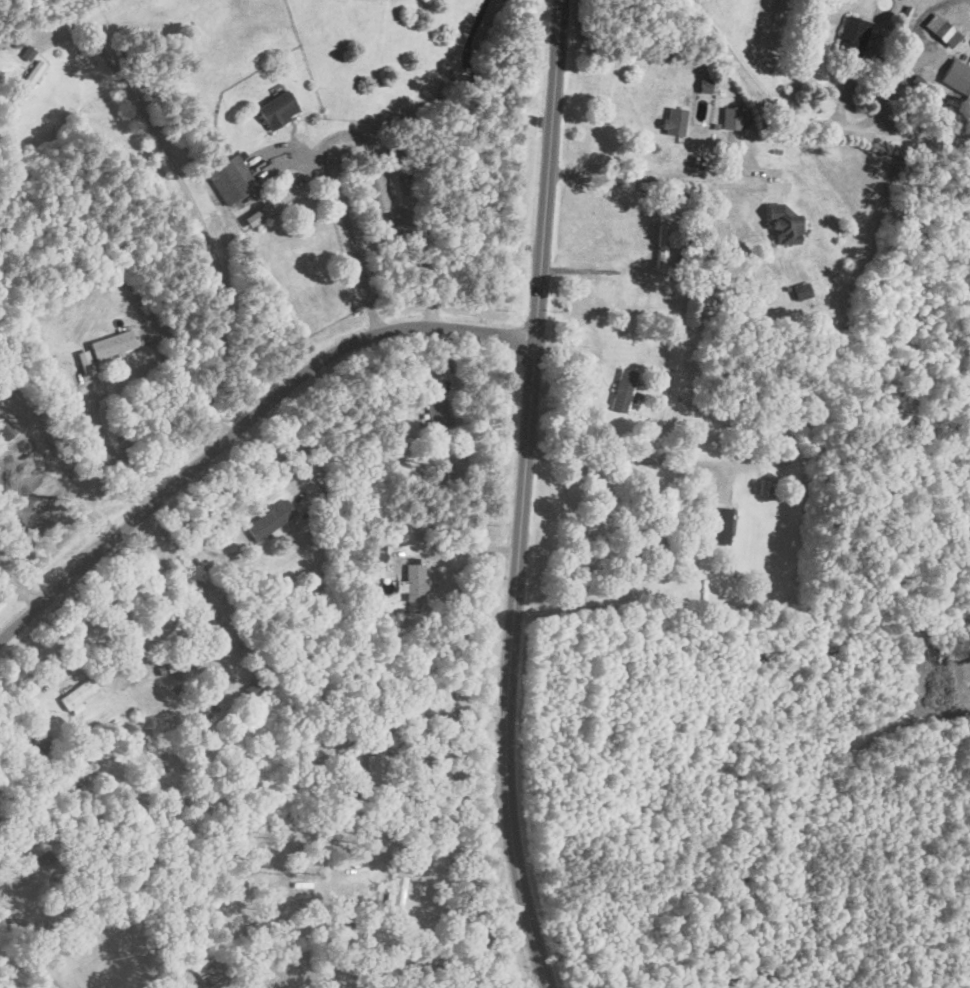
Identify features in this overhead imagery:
building: (942, 29)
building: (851, 35)
building: (26, 52)
road: (898, 57)
building: (956, 76)
building: (25, 81)
building: (704, 84)
road: (473, 86)
building: (276, 109)
building: (733, 117)
road: (806, 117)
building: (673, 120)
road: (350, 133)
road: (658, 175)
building: (229, 179)
building: (376, 192)
building: (782, 224)
road: (203, 225)
road: (590, 269)
building: (800, 290)
building: (111, 344)
building: (83, 363)
building: (621, 390)
building: (435, 414)
road: (244, 425)
road: (295, 444)
road: (111, 449)
road: (621, 455)
road: (62, 472)
building: (766, 486)
road: (523, 496)
building: (268, 518)
building: (718, 526)
road: (193, 540)
road: (461, 548)
building: (413, 582)
road: (19, 584)
road: (162, 629)
building: (184, 660)
road: (56, 666)
building: (251, 690)
building: (76, 695)
road: (438, 706)
building: (375, 738)
building: (375, 774)
road: (437, 852)
building: (396, 896)
road: (419, 961)

